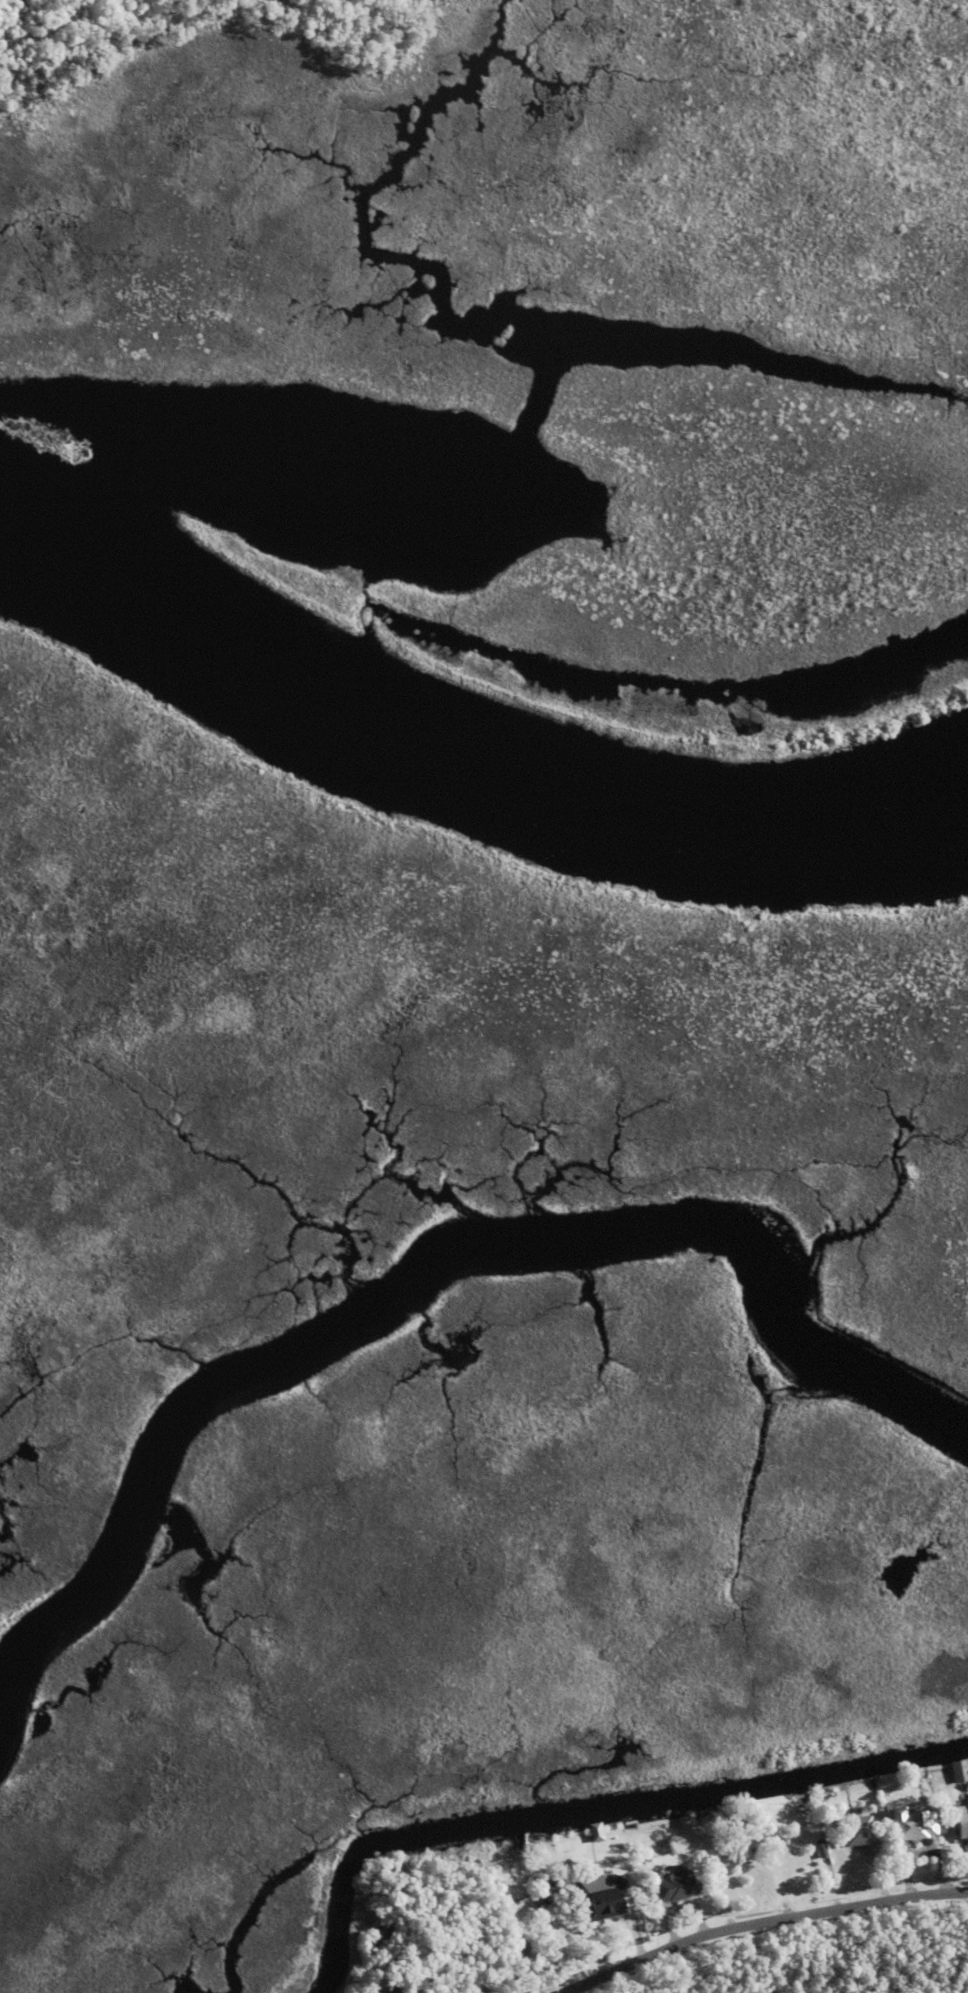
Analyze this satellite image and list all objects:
river: (460, 762)
building: (959, 1770)
building: (966, 1820)
building: (911, 1821)
building: (947, 1823)
building: (856, 1829)
building: (596, 1831)
building: (821, 1847)
building: (748, 1860)
building: (673, 1883)
building: (549, 1887)
road: (766, 1924)
building: (600, 1926)
building: (383, 1931)
building: (390, 1990)

